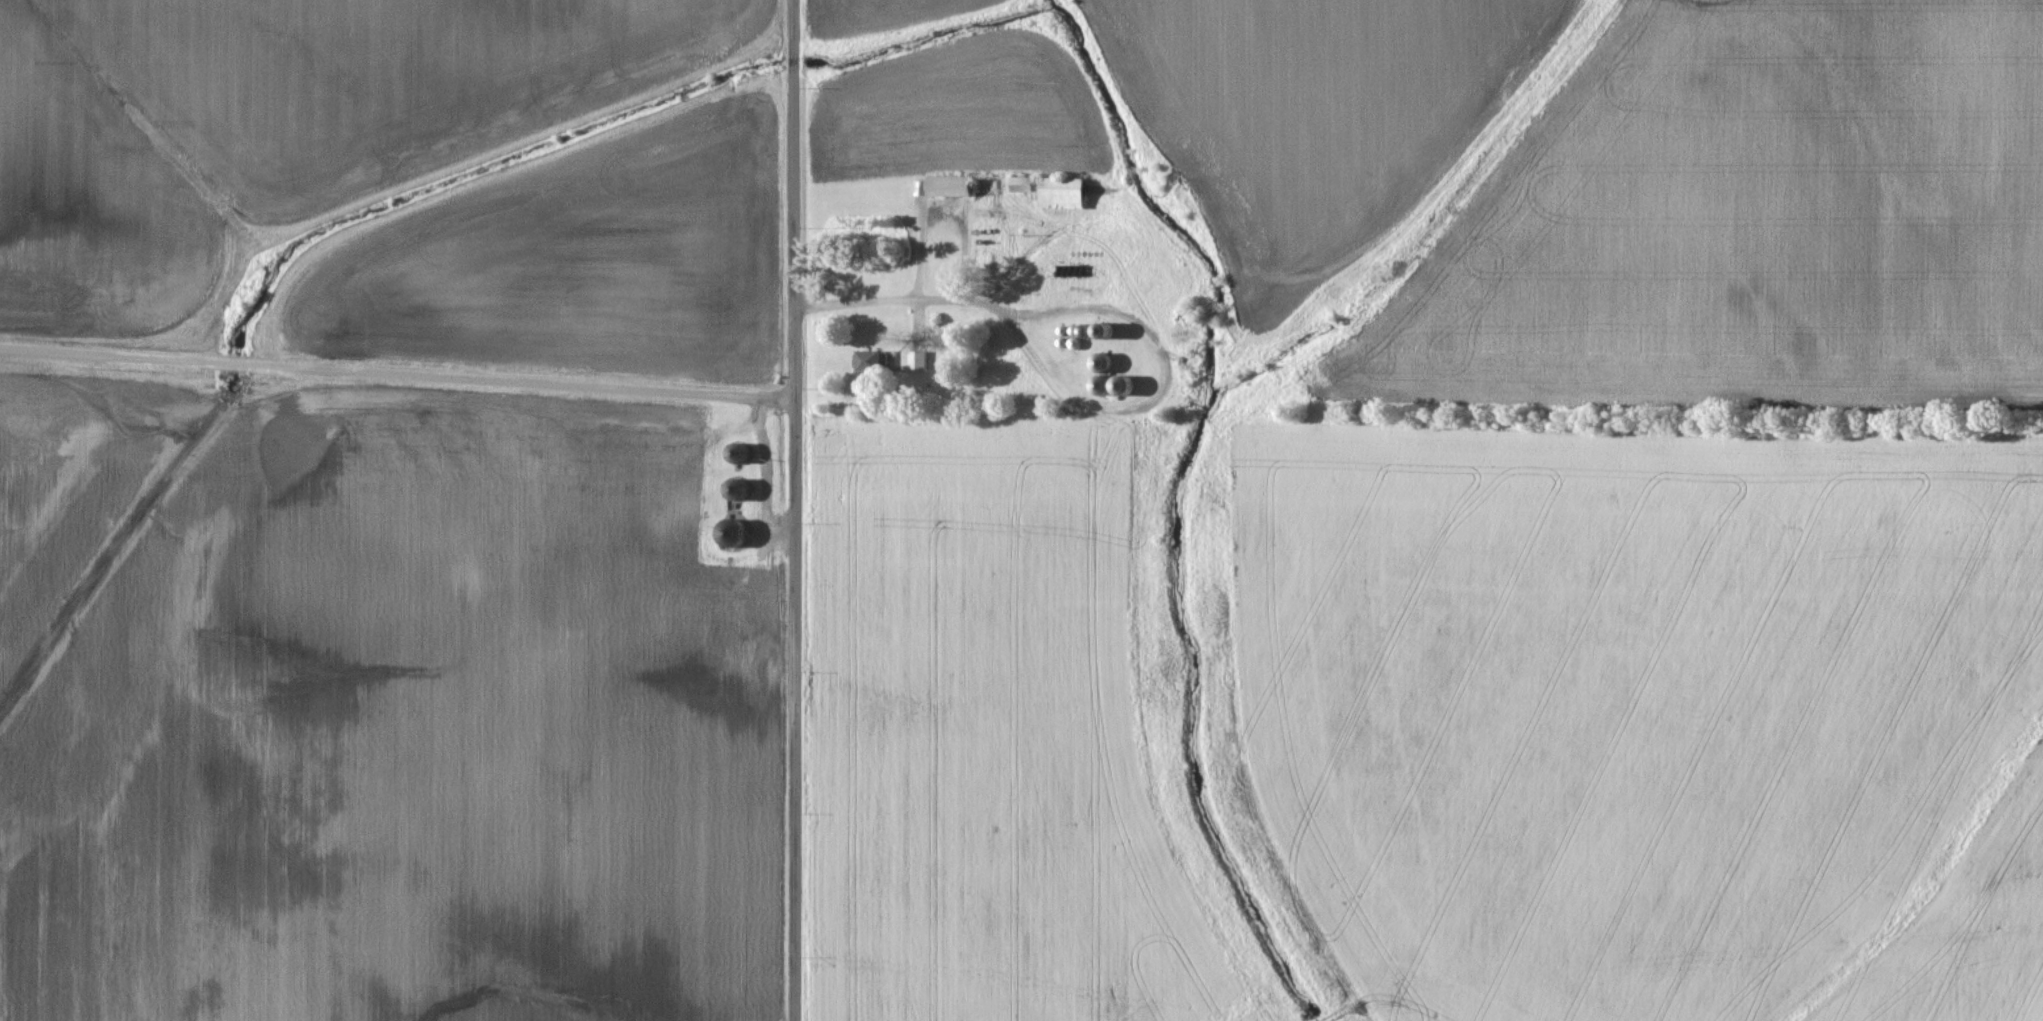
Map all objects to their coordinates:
building: (1026, 186)
building: (955, 188)
road: (895, 302)
building: (872, 361)
building: (921, 362)
road: (399, 370)
road: (798, 510)

